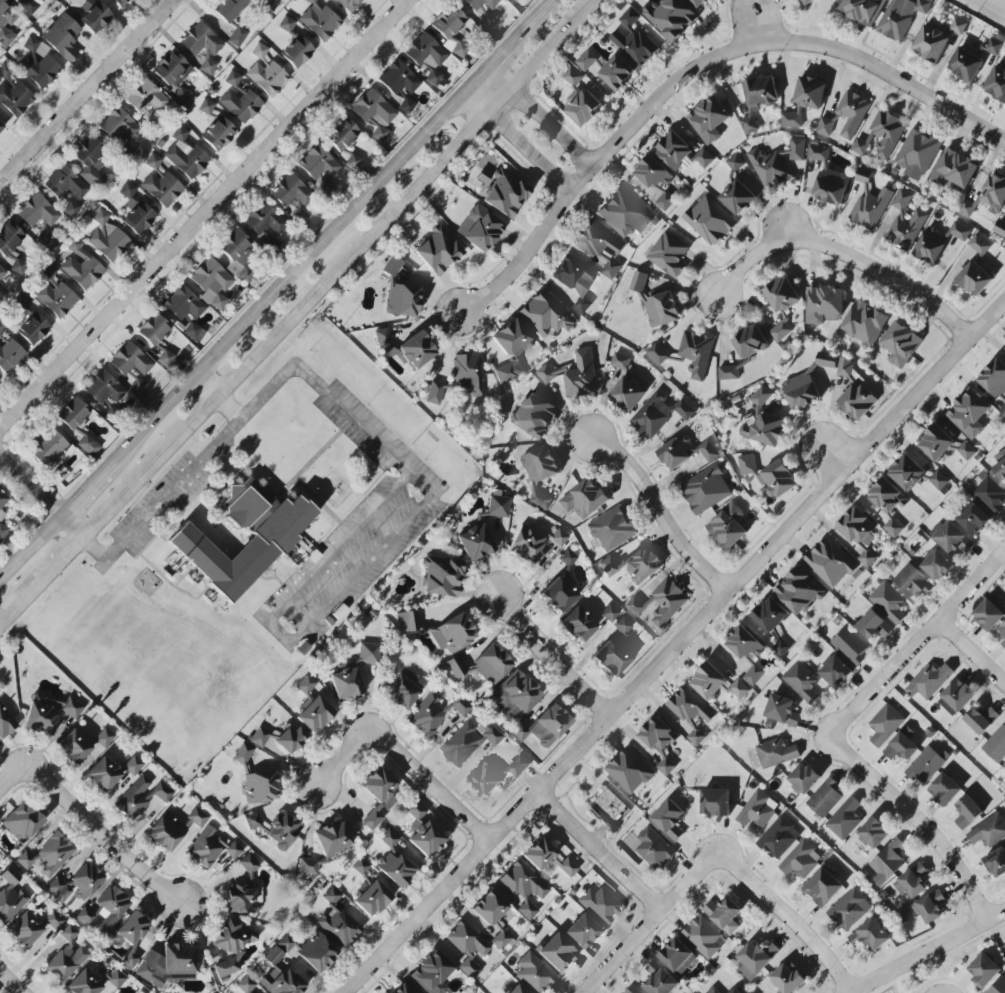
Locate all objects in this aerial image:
building: (513, 0)
building: (120, 2)
building: (699, 2)
building: (806, 2)
building: (480, 3)
building: (271, 4)
building: (348, 4)
road: (551, 4)
building: (29, 5)
building: (229, 9)
building: (862, 11)
building: (96, 17)
building: (901, 17)
building: (671, 18)
building: (319, 21)
building: (448, 22)
building: (6, 24)
building: (286, 24)
road: (756, 26)
building: (958, 26)
building: (62, 37)
building: (237, 37)
road: (520, 38)
building: (634, 40)
building: (201, 43)
building: (932, 43)
building: (994, 47)
building: (460, 49)
building: (259, 51)
building: (297, 52)
building: (427, 57)
building: (586, 60)
building: (38, 63)
building: (966, 64)
building: (207, 67)
building: (617, 72)
building: (173, 74)
road: (887, 75)
building: (573, 76)
building: (232, 78)
building: (267, 78)
building: (398, 79)
building: (996, 84)
road: (85, 91)
building: (810, 93)
building: (146, 97)
building: (15, 98)
building: (758, 99)
building: (584, 104)
building: (241, 105)
building: (406, 105)
building: (206, 106)
building: (374, 113)
building: (851, 113)
road: (541, 117)
building: (708, 120)
building: (791, 120)
building: (825, 125)
building: (119, 127)
building: (1, 128)
building: (218, 134)
building: (341, 134)
building: (886, 134)
road: (519, 140)
building: (860, 147)
building: (673, 151)
building: (818, 152)
building: (917, 152)
building: (185, 155)
building: (704, 158)
building: (153, 161)
building: (90, 162)
building: (352, 162)
road: (595, 163)
building: (735, 163)
building: (777, 163)
building: (318, 164)
building: (953, 172)
building: (652, 173)
building: (65, 183)
building: (831, 185)
building: (162, 188)
building: (291, 192)
building: (505, 193)
building: (994, 194)
building: (738, 197)
building: (664, 201)
building: (902, 204)
building: (869, 206)
building: (966, 208)
building: (71, 209)
building: (37, 211)
building: (135, 211)
road: (205, 213)
building: (623, 214)
building: (264, 219)
building: (709, 221)
building: (479, 228)
building: (1000, 228)
building: (906, 230)
building: (959, 232)
building: (45, 235)
building: (9, 238)
building: (107, 238)
building: (596, 242)
building: (979, 245)
building: (929, 246)
building: (437, 250)
building: (237, 254)
building: (668, 255)
road: (848, 257)
road: (302, 264)
building: (81, 266)
building: (392, 266)
building: (18, 267)
road: (339, 267)
building: (611, 269)
building: (48, 272)
building: (2, 273)
building: (974, 279)
building: (574, 281)
building: (212, 282)
building: (638, 282)
building: (56, 299)
building: (402, 299)
building: (183, 303)
building: (823, 305)
building: (782, 306)
building: (662, 309)
building: (546, 314)
building: (865, 324)
building: (1, 327)
building: (34, 329)
building: (153, 329)
building: (192, 331)
building: (383, 338)
building: (749, 342)
building: (900, 344)
building: (511, 350)
building: (416, 351)
building: (657, 354)
building: (696, 354)
building: (10, 355)
building: (165, 358)
building: (826, 360)
building: (620, 361)
building: (130, 365)
building: (844, 368)
building: (729, 371)
building: (551, 373)
building: (468, 374)
building: (581, 375)
building: (994, 379)
building: (103, 388)
road: (323, 389)
building: (800, 391)
building: (433, 392)
building: (627, 394)
road: (220, 397)
building: (761, 397)
building: (857, 402)
building: (73, 413)
building: (659, 414)
building: (968, 414)
building: (534, 416)
building: (764, 429)
building: (945, 442)
building: (88, 445)
building: (49, 449)
building: (708, 451)
building: (677, 452)
road: (832, 458)
building: (747, 465)
building: (1000, 466)
building: (540, 472)
building: (907, 472)
building: (777, 480)
building: (938, 480)
road: (87, 488)
building: (705, 490)
building: (990, 494)
road: (42, 495)
building: (887, 496)
building: (3, 499)
road: (169, 499)
building: (584, 499)
parking lot: (168, 502)
road: (661, 515)
building: (973, 520)
building: (2, 526)
building: (728, 526)
building: (893, 528)
building: (611, 529)
parking lot: (356, 531)
building: (858, 534)
building: (559, 538)
building: (951, 538)
building: (271, 539)
building: (475, 543)
building: (526, 544)
road: (31, 546)
road: (342, 547)
road: (101, 554)
building: (568, 558)
building: (830, 563)
road: (55, 565)
building: (936, 565)
building: (632, 566)
road: (362, 567)
building: (442, 577)
building: (913, 583)
road: (973, 591)
building: (798, 592)
building: (558, 595)
building: (888, 602)
building: (660, 603)
road: (13, 607)
building: (609, 613)
building: (770, 615)
building: (988, 615)
building: (407, 621)
building: (578, 624)
building: (623, 626)
building: (873, 626)
building: (1002, 629)
road: (281, 631)
building: (453, 634)
building: (744, 644)
building: (1003, 644)
building: (850, 646)
road: (675, 647)
building: (368, 653)
road: (973, 654)
building: (613, 657)
road: (553, 661)
building: (835, 672)
building: (753, 675)
building: (346, 681)
building: (708, 681)
building: (801, 681)
building: (929, 681)
building: (739, 689)
building: (403, 690)
building: (516, 692)
building: (958, 695)
building: (313, 705)
building: (689, 707)
building: (72, 708)
building: (780, 710)
building: (436, 711)
building: (42, 715)
building: (981, 719)
building: (5, 722)
building: (885, 725)
building: (544, 726)
building: (259, 737)
building: (696, 737)
building: (104, 738)
building: (290, 738)
building: (468, 741)
building: (659, 742)
building: (74, 746)
building: (901, 746)
building: (996, 746)
building: (776, 753)
building: (242, 754)
road: (401, 757)
building: (133, 765)
building: (926, 765)
building: (518, 767)
road: (863, 769)
building: (629, 771)
building: (103, 774)
building: (804, 778)
road: (12, 779)
building: (485, 779)
building: (260, 787)
building: (944, 790)
building: (378, 795)
building: (141, 796)
building: (826, 797)
building: (715, 803)
building: (609, 809)
building: (758, 809)
building: (967, 812)
building: (195, 819)
building: (669, 819)
building: (845, 819)
building: (22, 822)
building: (275, 828)
building: (753, 828)
building: (166, 832)
building: (423, 832)
building: (989, 832)
building: (874, 833)
road: (106, 837)
building: (778, 838)
building: (333, 839)
building: (388, 839)
building: (210, 848)
building: (654, 849)
road: (598, 853)
building: (539, 854)
building: (48, 855)
building: (801, 860)
building: (888, 860)
building: (996, 863)
building: (308, 867)
building: (568, 867)
building: (395, 869)
building: (912, 882)
building: (76, 883)
building: (822, 887)
building: (524, 888)
building: (372, 890)
building: (244, 893)
building: (332, 895)
building: (11, 896)
building: (601, 905)
building: (929, 907)
building: (489, 908)
building: (111, 909)
building: (849, 909)
building: (87, 913)
building: (724, 915)
building: (54, 920)
road: (792, 920)
road: (651, 924)
building: (338, 926)
building: (25, 929)
building: (582, 931)
building: (870, 935)
building: (130, 936)
building: (704, 937)
building: (502, 940)
building: (285, 943)
building: (232, 947)
building: (468, 947)
road: (931, 951)
building: (317, 952)
building: (557, 952)
building: (67, 956)
building: (677, 956)
building: (755, 959)
building: (168, 965)
building: (984, 970)
building: (432, 973)
building: (534, 973)
building: (280, 975)
building: (116, 978)
building: (787, 979)
road: (10, 983)
building: (84, 983)
building: (660, 983)
building: (246, 985)
building: (998, 986)
building: (402, 989)
building: (517, 989)
building: (633, 990)
building: (713, 990)
building: (735, 991)

